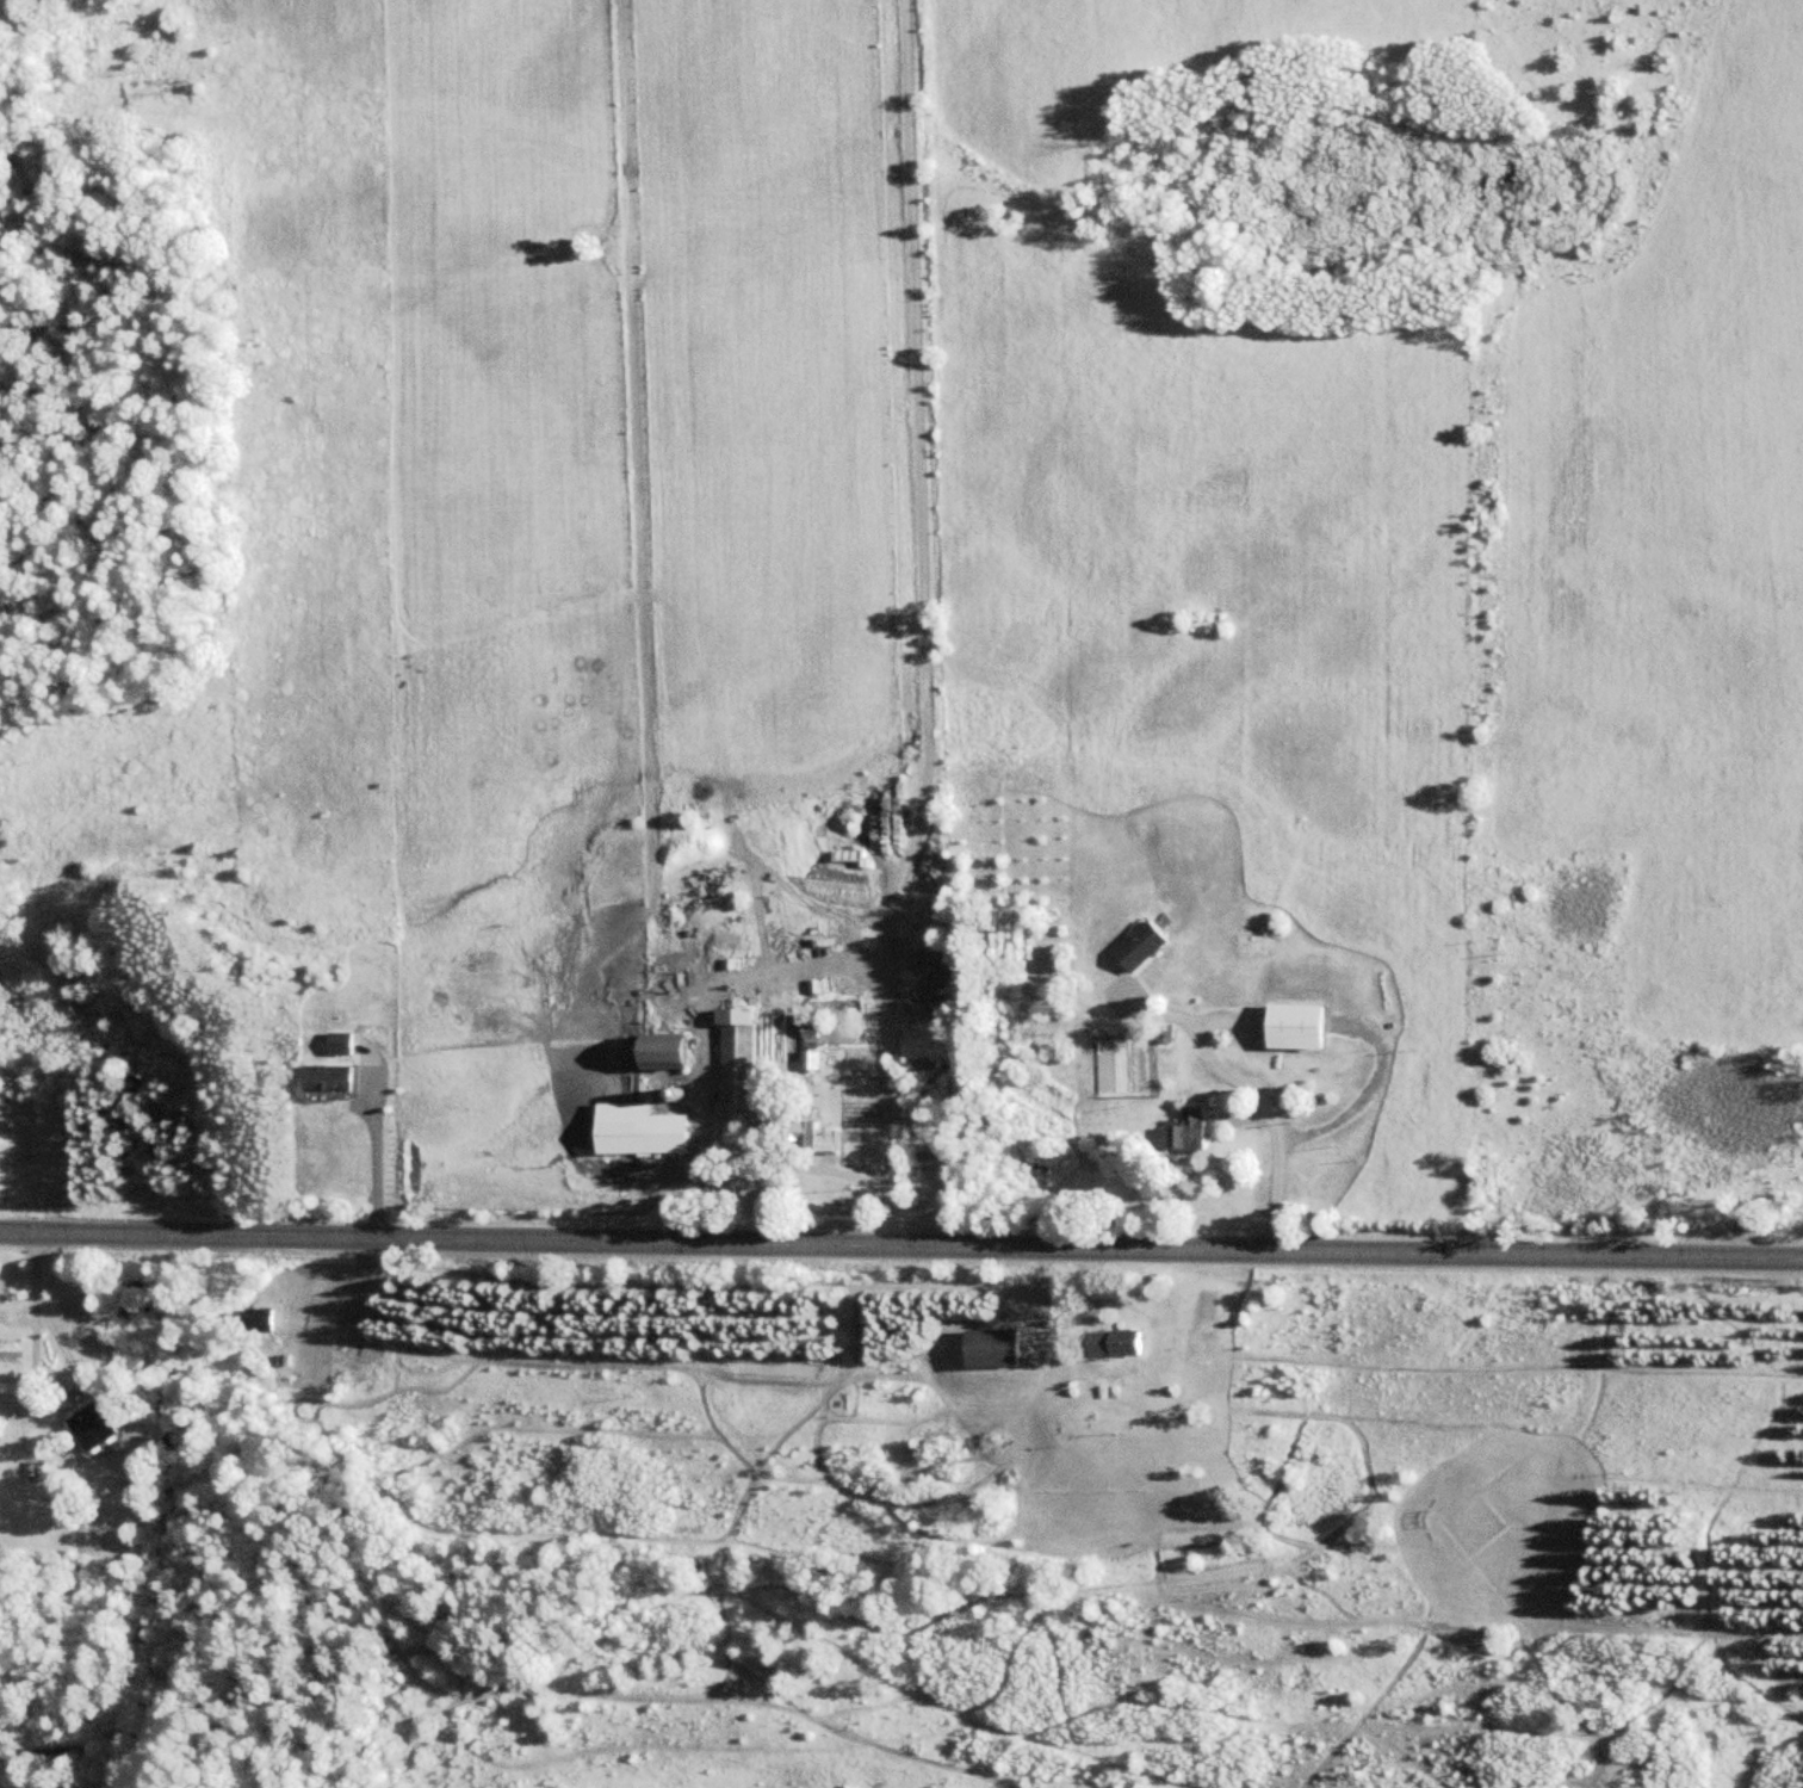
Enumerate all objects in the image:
building: (695, 866)
building: (1144, 945)
building: (1302, 1026)
building: (345, 1043)
building: (814, 1050)
building: (673, 1051)
building: (738, 1070)
building: (334, 1077)
building: (1191, 1130)
building: (811, 1136)
road: (900, 1243)
building: (264, 1318)
building: (1120, 1341)
building: (998, 1347)
building: (98, 1424)
building: (37, 1467)

